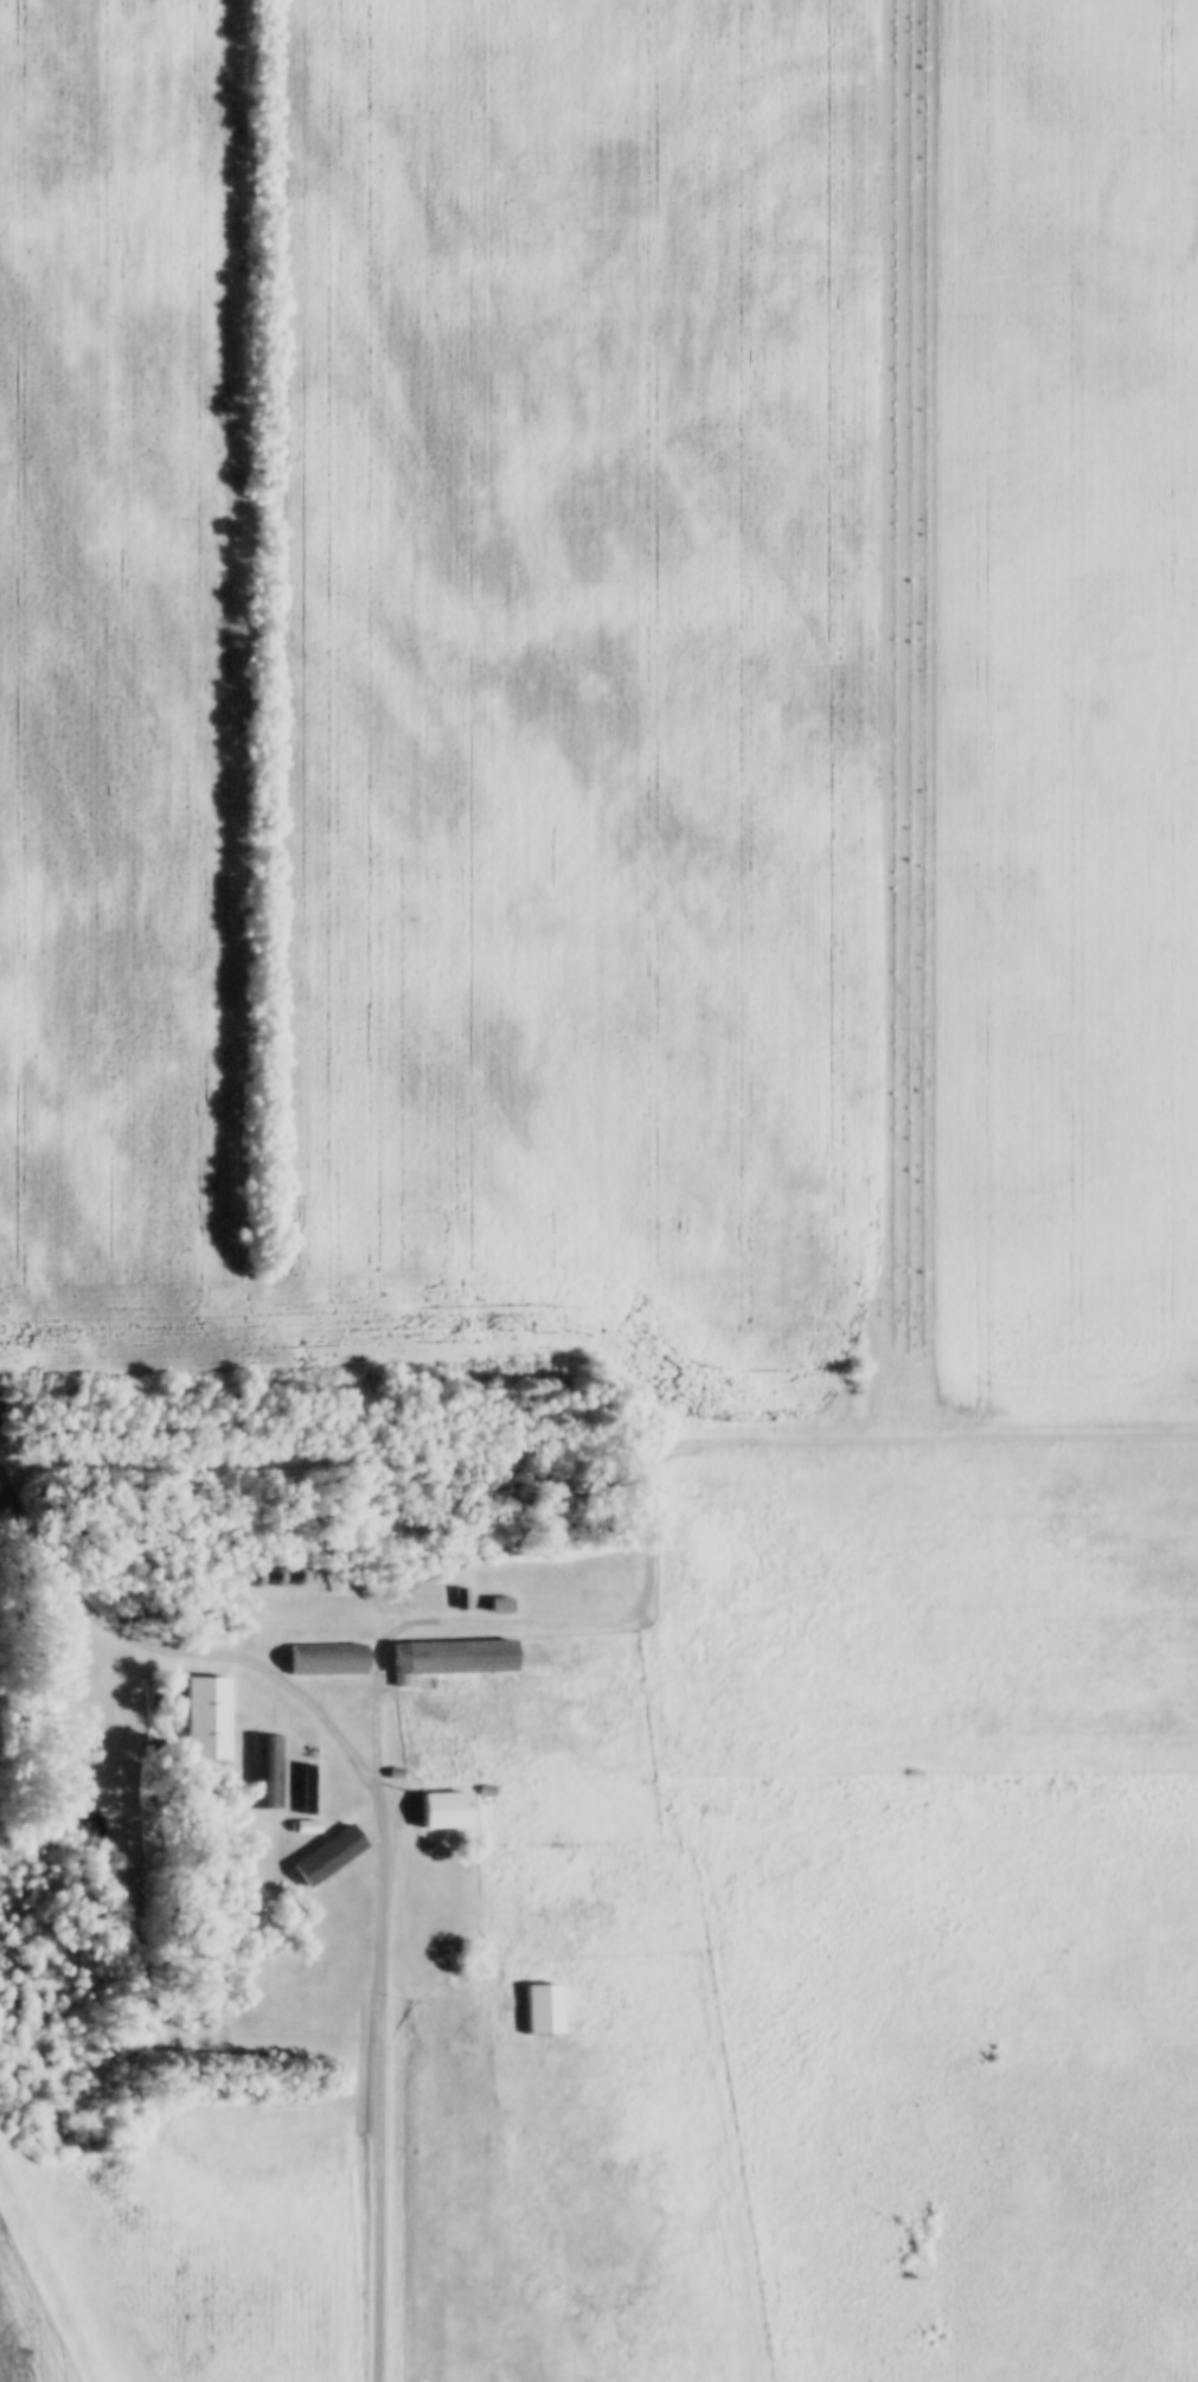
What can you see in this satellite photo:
building: (290, 1576)
road: (57, 1577)
building: (457, 1597)
building: (494, 1605)
building: (447, 1657)
building: (322, 1659)
road: (292, 1688)
building: (203, 1717)
building: (269, 1772)
building: (309, 1793)
building: (438, 1810)
road: (383, 1834)
building: (323, 1856)
building: (538, 2009)

